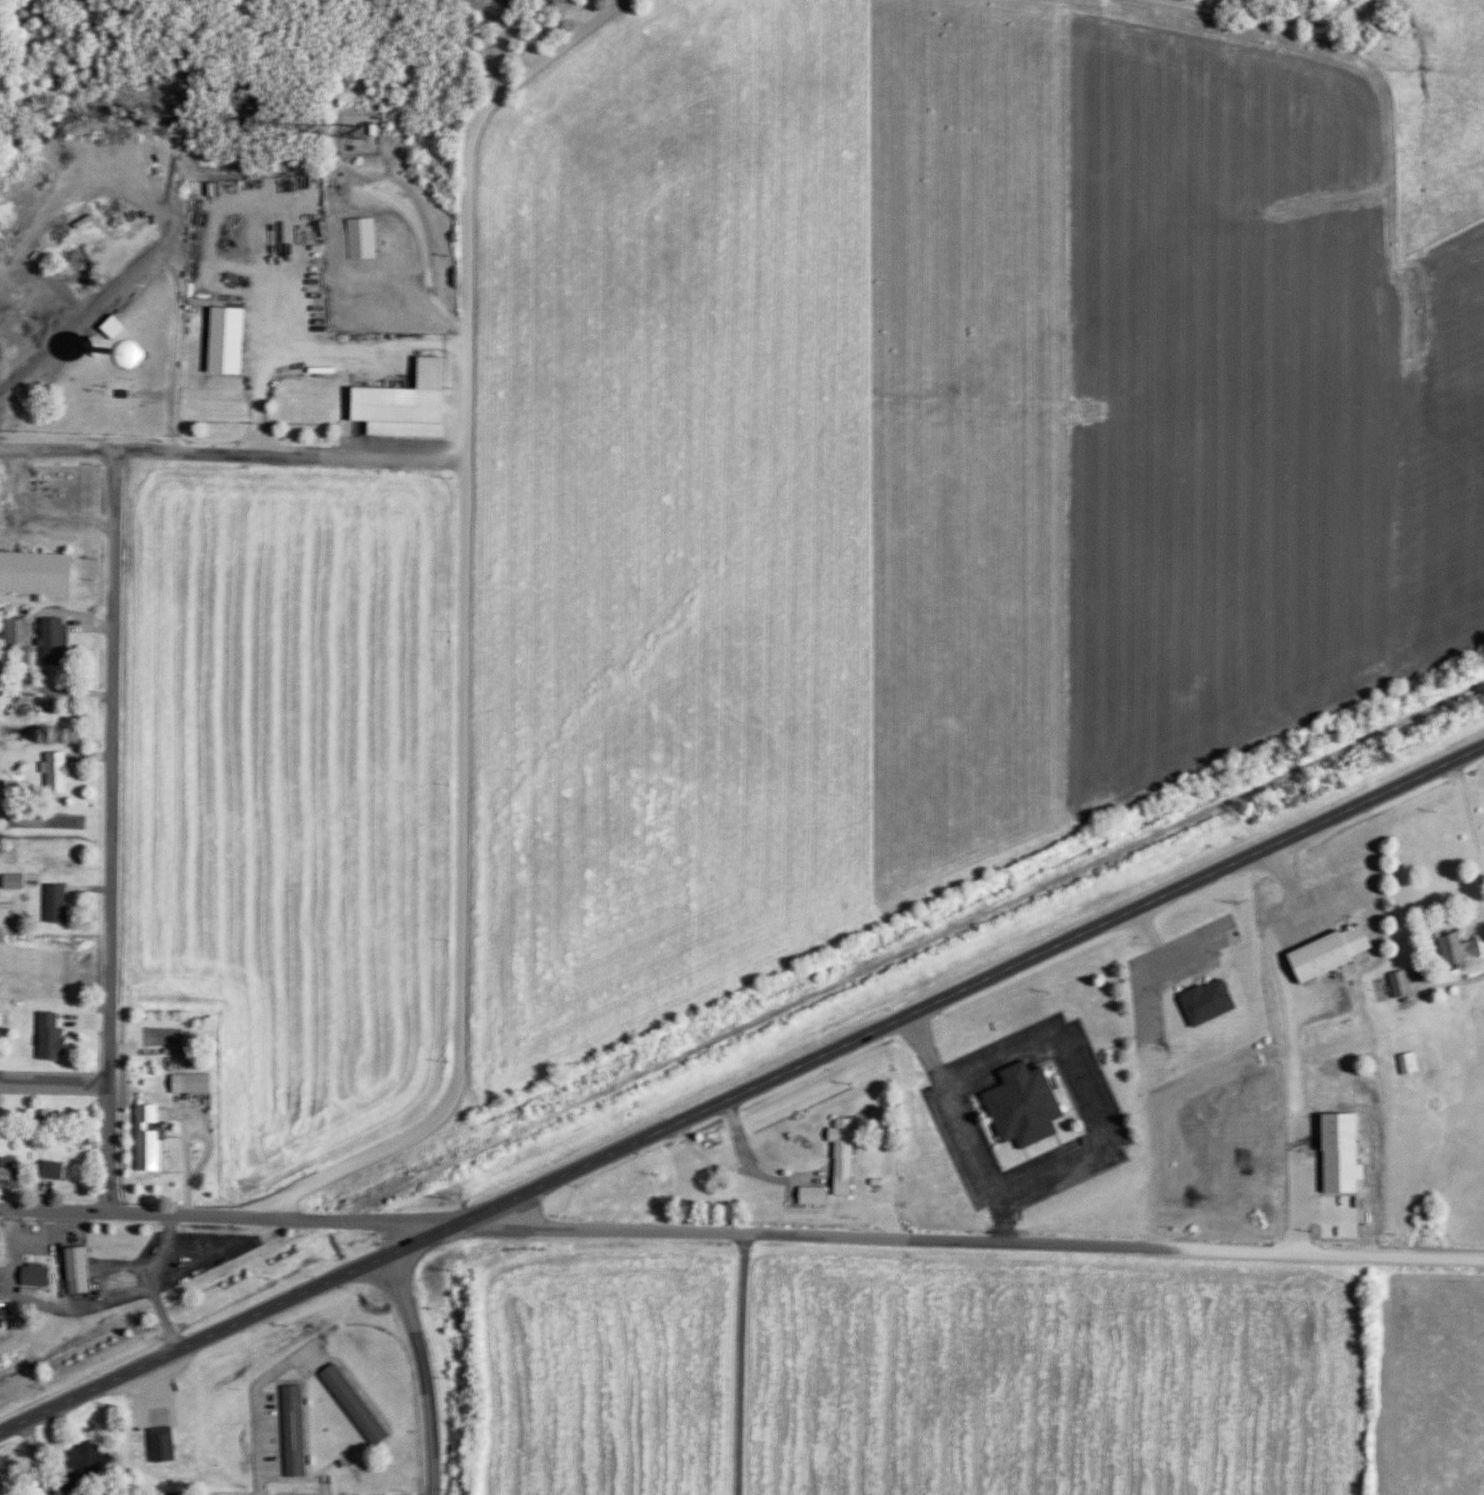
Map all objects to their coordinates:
road: (1277, 11)
building: (506, 36)
building: (357, 239)
road: (75, 327)
building: (107, 329)
building: (398, 406)
road: (230, 454)
road: (46, 510)
building: (33, 575)
building: (6, 634)
road: (458, 635)
building: (47, 642)
building: (49, 774)
road: (109, 831)
road: (1470, 834)
building: (10, 884)
road: (1288, 887)
building: (50, 904)
building: (1452, 950)
building: (1323, 953)
road: (969, 979)
building: (1394, 985)
railway: (736, 996)
building: (1201, 1003)
building: (45, 1039)
building: (1403, 1064)
road: (51, 1081)
building: (190, 1085)
building: (1017, 1107)
building: (141, 1140)
building: (837, 1157)
building: (4, 1172)
building: (44, 1172)
building: (806, 1197)
road: (230, 1215)
road: (393, 1237)
road: (912, 1240)
road: (1424, 1259)
building: (71, 1272)
building: (30, 1277)
road: (229, 1327)
road: (742, 1365)
road: (923, 1367)
road: (421, 1372)
road: (258, 1402)
building: (348, 1404)
building: (288, 1431)
building: (81, 1460)
building: (166, 1494)

